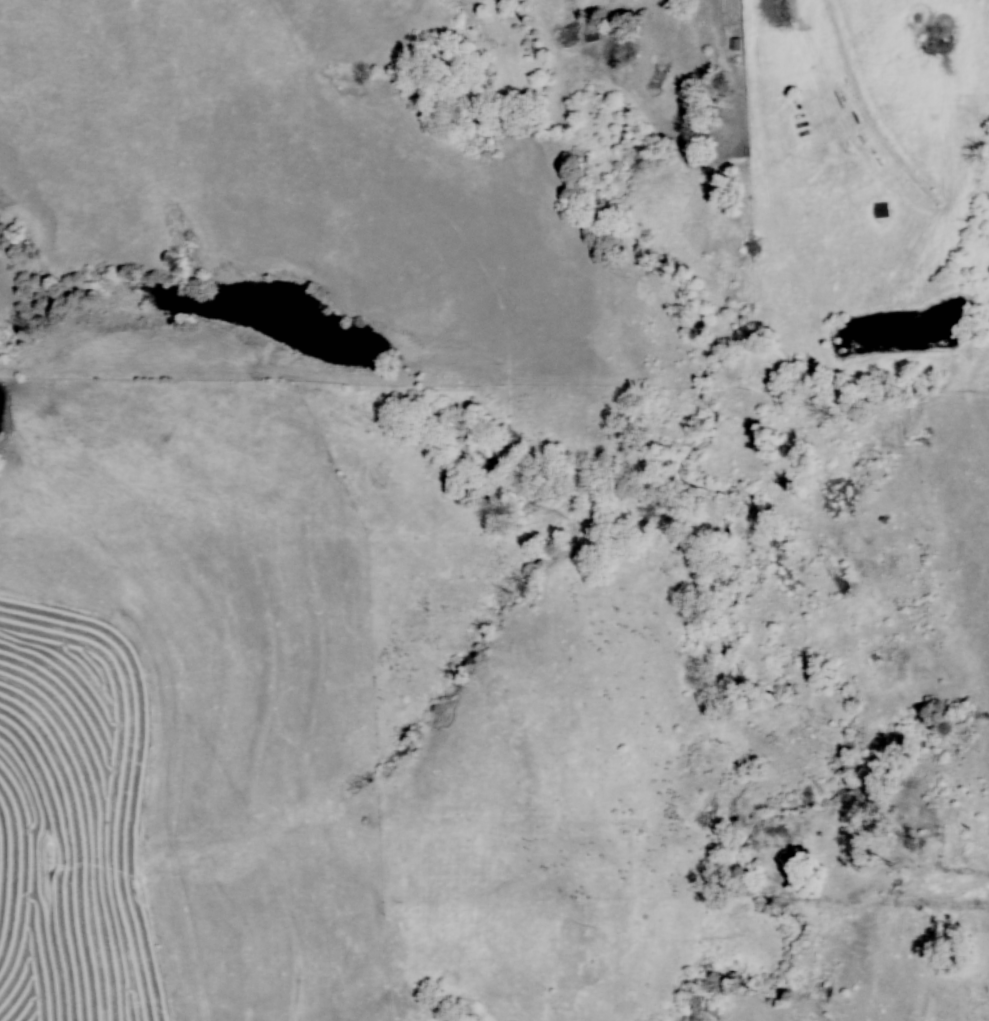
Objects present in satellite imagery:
building: (737, 47)

